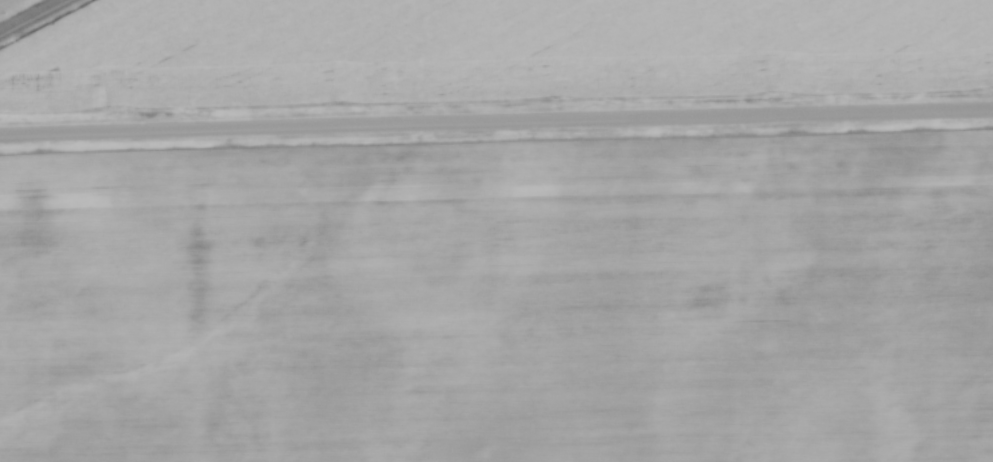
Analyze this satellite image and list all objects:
railway: (18, 9)
road: (496, 138)

